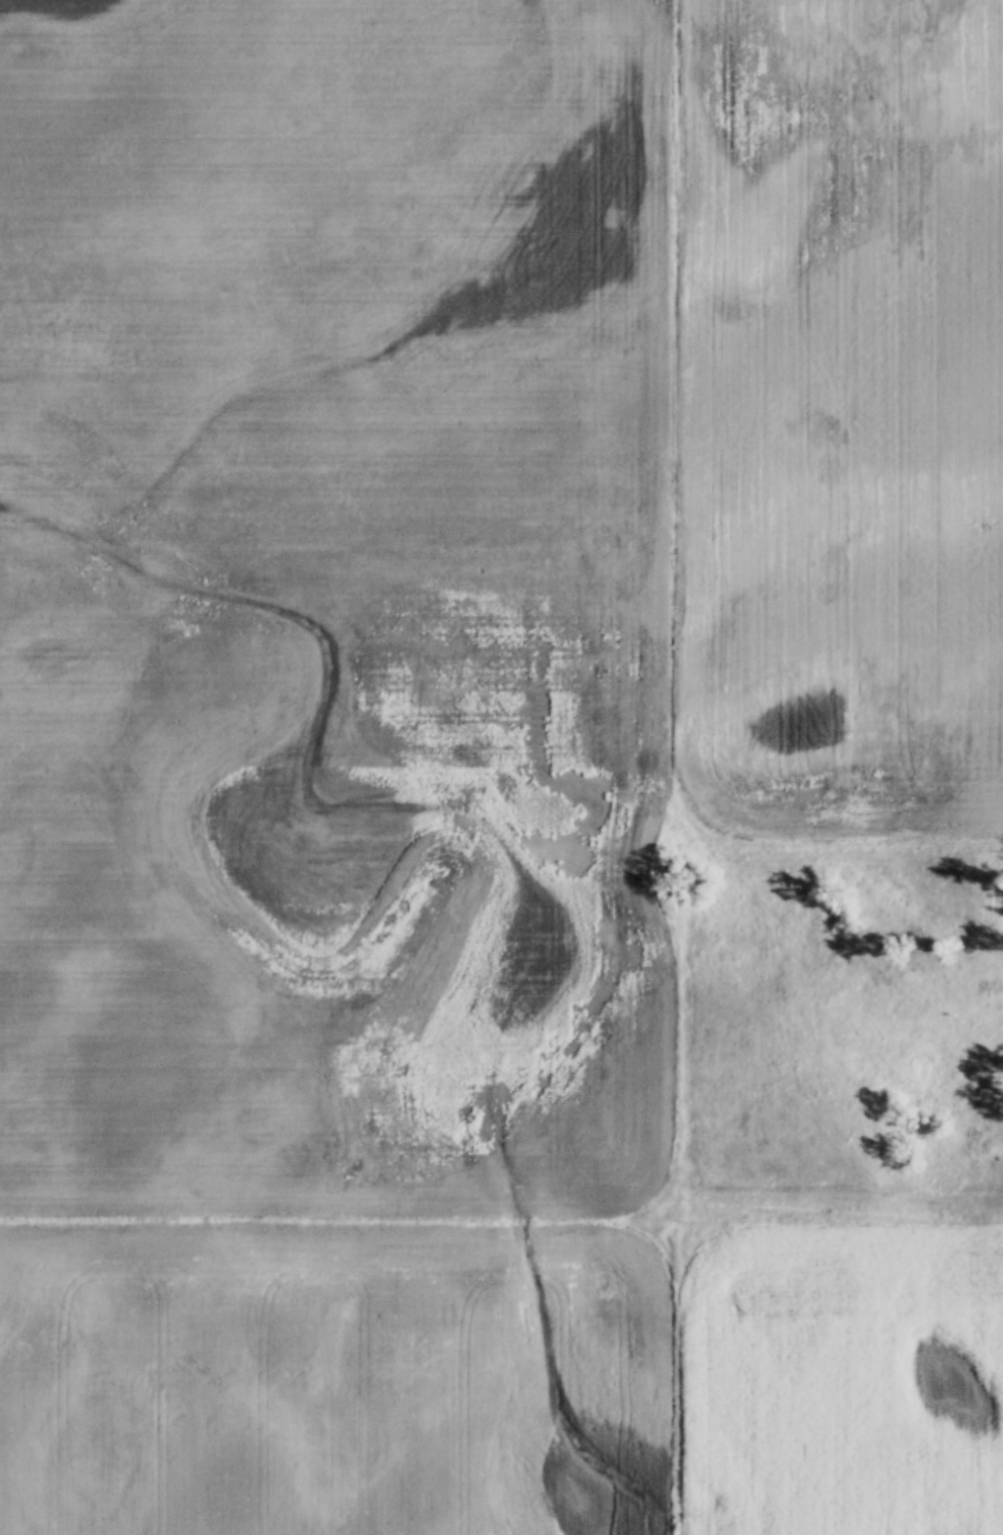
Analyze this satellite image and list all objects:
road: (670, 605)
building: (989, 987)

